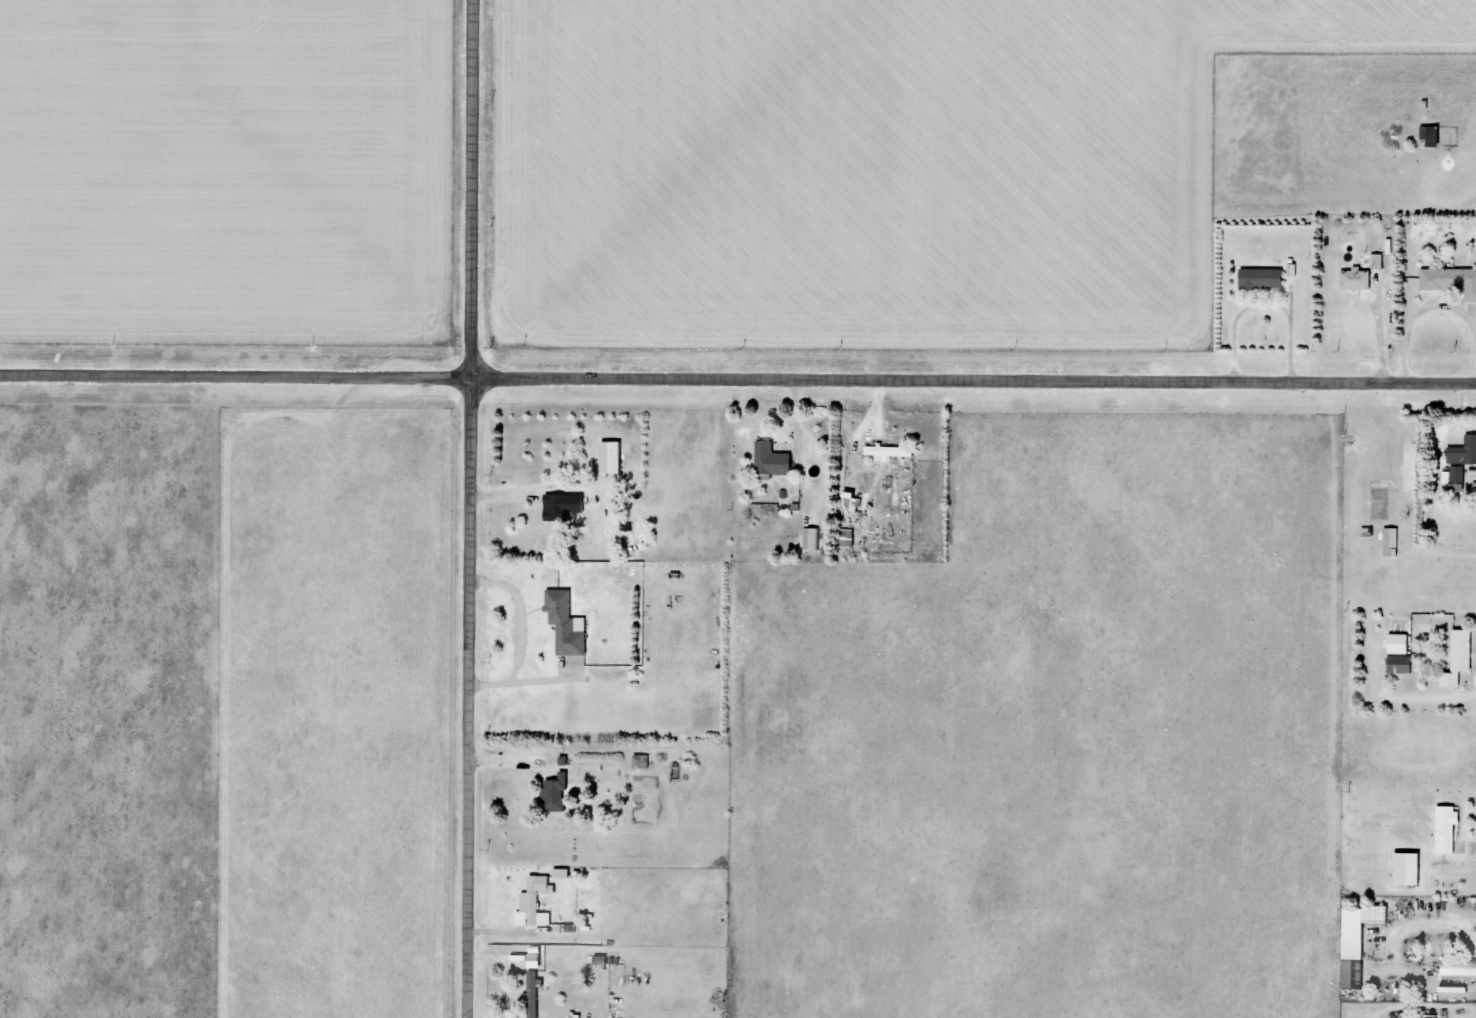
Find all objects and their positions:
building: (1377, 261)
building: (1259, 278)
building: (1354, 279)
building: (1450, 281)
road: (738, 379)
building: (893, 451)
building: (1463, 452)
building: (615, 457)
building: (775, 459)
building: (1457, 473)
building: (568, 506)
road: (470, 508)
building: (815, 538)
building: (852, 538)
building: (1389, 542)
building: (569, 623)
building: (1403, 643)
building: (1463, 658)
building: (1404, 664)
building: (557, 795)
building: (1451, 829)
building: (1413, 869)
building: (565, 873)
building: (540, 900)
building: (1363, 942)
building: (538, 957)
building: (1460, 969)
building: (537, 977)
building: (537, 997)

